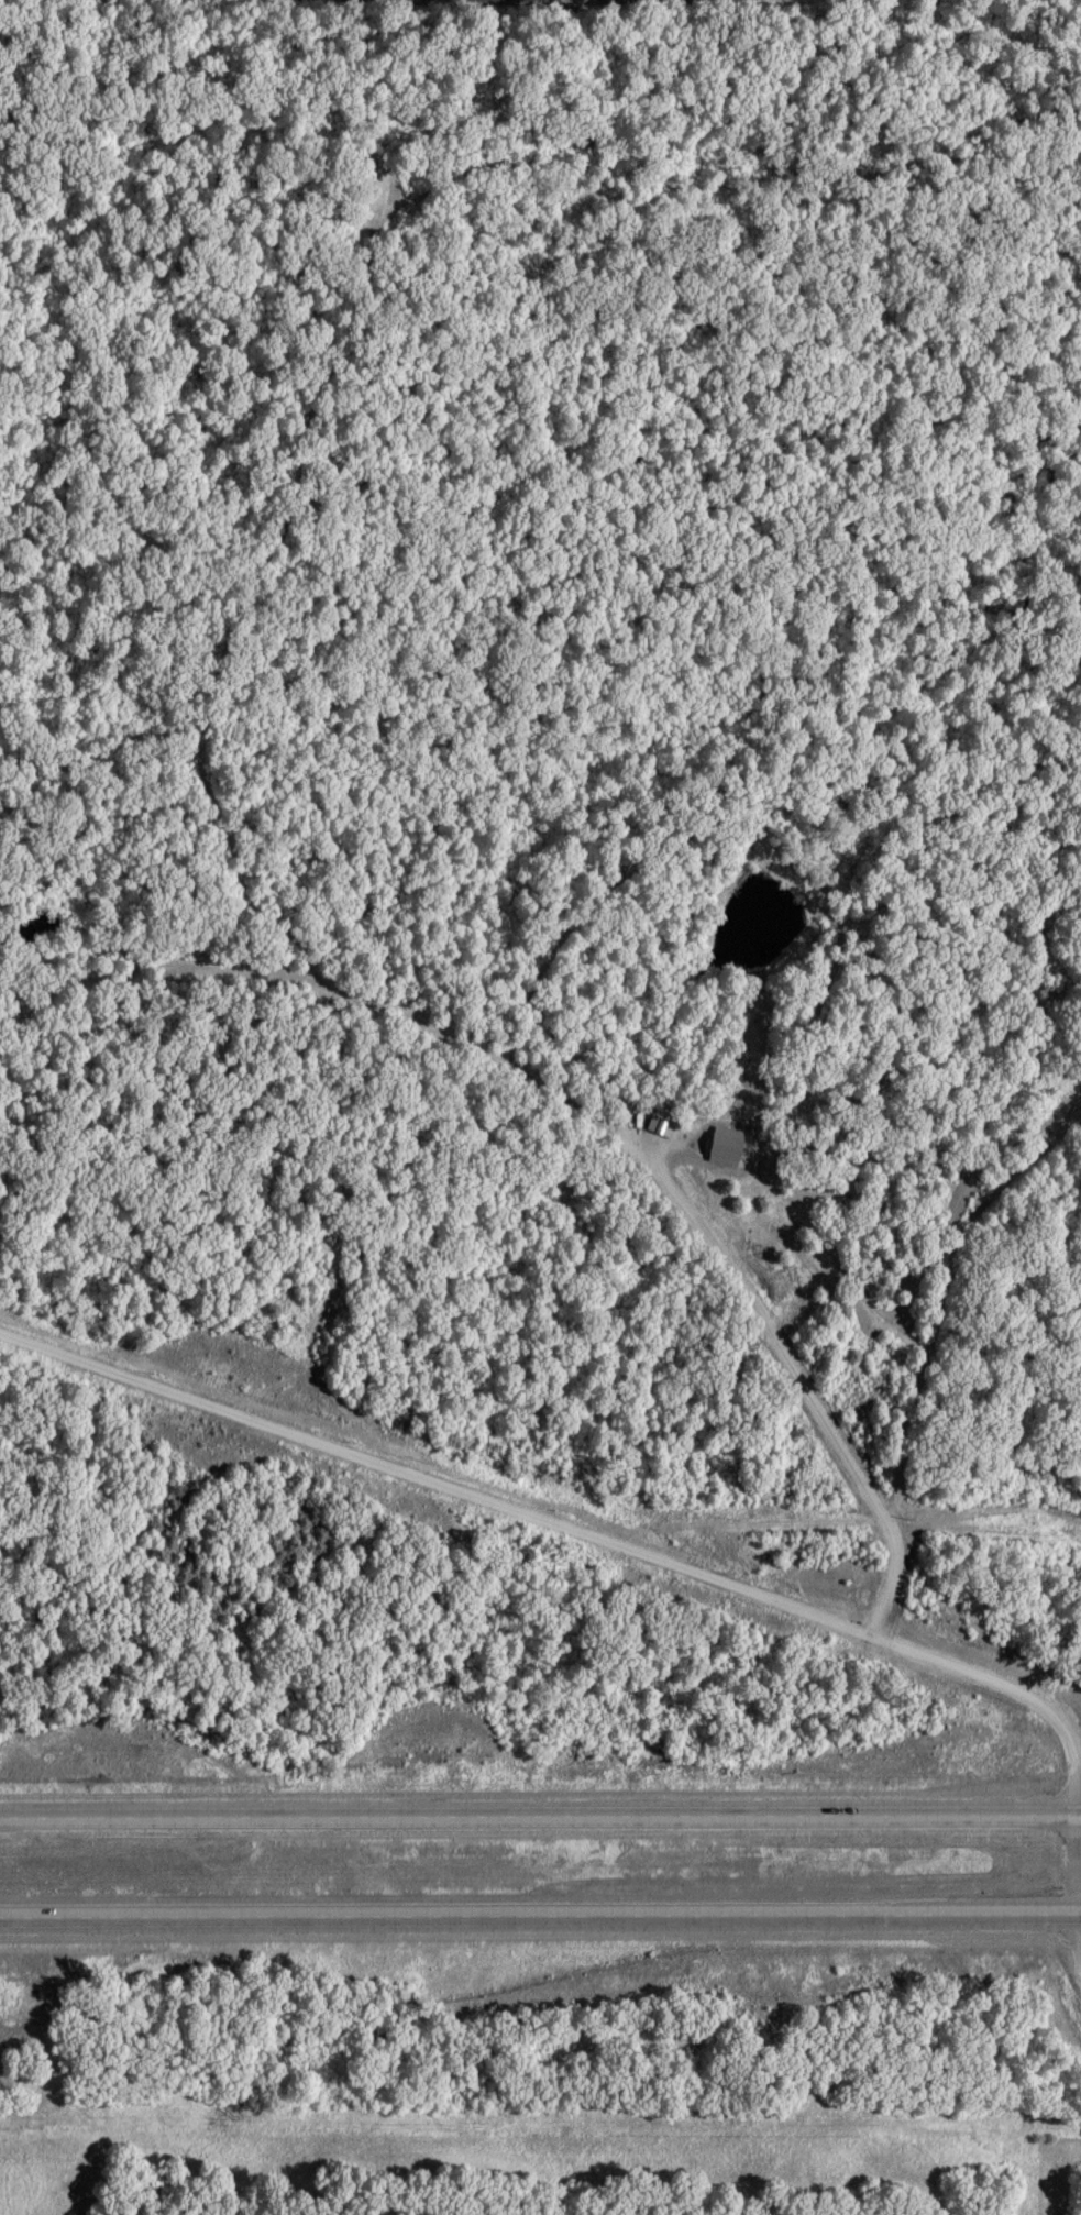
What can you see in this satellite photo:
road: (626, 1545)
road: (540, 1810)
road: (540, 1911)
road: (1079, 1933)

